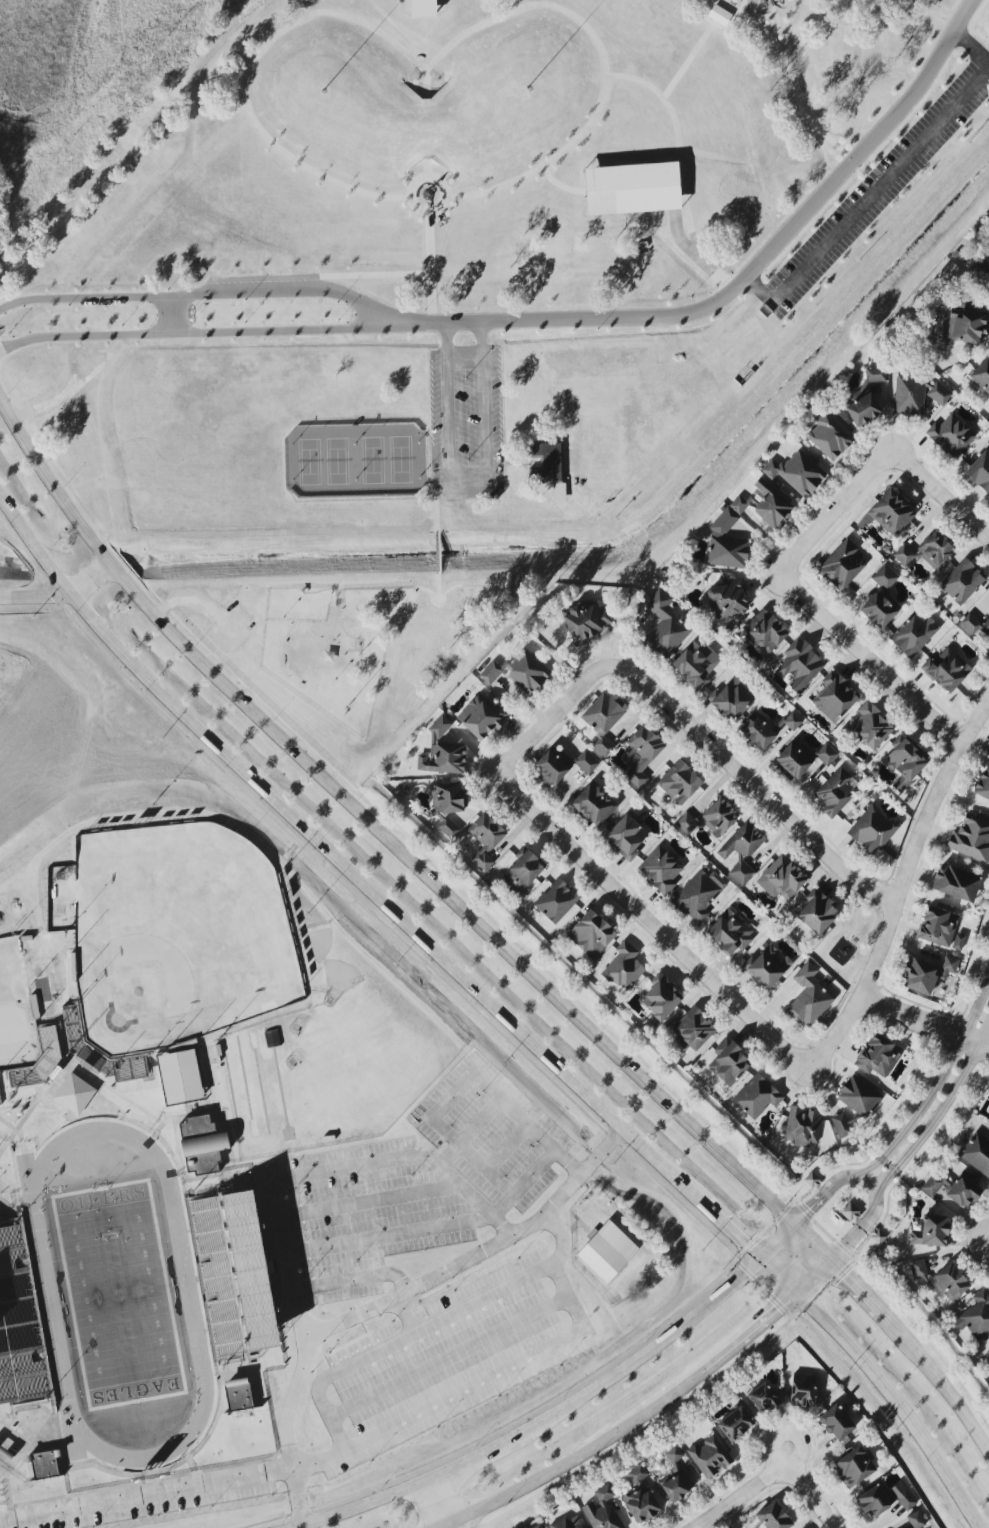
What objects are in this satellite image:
building: (423, 8)
building: (719, 15)
road: (791, 78)
road: (881, 186)
building: (632, 189)
road: (702, 260)
building: (979, 270)
road: (744, 286)
road: (285, 295)
road: (96, 303)
road: (12, 308)
park: (477, 308)
road: (171, 321)
building: (968, 326)
road: (231, 337)
road: (36, 342)
building: (632, 375)
building: (982, 375)
road: (627, 384)
road: (621, 393)
building: (939, 394)
building: (909, 396)
building: (865, 398)
parking lot: (469, 423)
road: (630, 429)
building: (830, 435)
building: (951, 435)
building: (645, 436)
building: (576, 437)
road: (631, 445)
road: (524, 462)
building: (548, 463)
building: (979, 472)
building: (797, 473)
road: (469, 477)
building: (589, 491)
building: (560, 493)
road: (945, 498)
building: (771, 505)
road: (837, 509)
building: (889, 514)
building: (727, 543)
building: (926, 551)
building: (841, 565)
building: (885, 577)
building: (962, 582)
road: (487, 586)
building: (517, 586)
road: (504, 592)
road: (59, 595)
building: (729, 599)
building: (880, 609)
building: (587, 621)
building: (665, 626)
building: (976, 627)
building: (765, 631)
building: (913, 635)
road: (871, 661)
building: (696, 664)
building: (800, 666)
building: (947, 669)
road: (433, 670)
building: (519, 672)
building: (833, 697)
building: (729, 702)
building: (481, 718)
building: (603, 719)
road: (551, 720)
building: (793, 721)
building: (440, 726)
building: (871, 727)
building: (758, 732)
building: (641, 754)
building: (826, 754)
building: (443, 759)
building: (794, 759)
building: (586, 762)
building: (905, 764)
building: (549, 768)
building: (679, 782)
road: (749, 783)
building: (983, 784)
building: (836, 792)
building: (594, 805)
building: (447, 806)
building: (718, 817)
building: (686, 823)
building: (872, 830)
building: (626, 837)
building: (971, 838)
building: (485, 839)
road: (914, 847)
building: (742, 852)
building: (661, 869)
building: (522, 873)
building: (781, 879)
building: (956, 883)
road: (367, 889)
building: (699, 895)
building: (556, 901)
building: (817, 912)
road: (653, 926)
building: (937, 927)
road: (486, 932)
building: (730, 933)
building: (591, 934)
park: (178, 936)
track: (319, 945)
road: (409, 946)
building: (624, 967)
building: (767, 967)
building: (927, 974)
track: (342, 981)
building: (76, 989)
stadium: (41, 992)
building: (809, 997)
building: (661, 999)
park: (16, 1011)
road: (70, 1013)
road: (924, 1024)
stadium: (73, 1026)
building: (40, 1028)
building: (693, 1030)
road: (837, 1034)
building: (272, 1037)
building: (167, 1050)
building: (878, 1056)
stadium: (91, 1061)
track: (279, 1063)
building: (729, 1063)
stadium: (130, 1066)
stadium: (49, 1068)
building: (10, 1073)
road: (209, 1075)
building: (180, 1077)
road: (157, 1078)
track: (262, 1085)
track: (247, 1088)
road: (488, 1088)
track: (233, 1091)
building: (75, 1095)
building: (757, 1096)
building: (859, 1096)
building: (0, 1103)
road: (18, 1108)
road: (137, 1108)
building: (988, 1111)
road: (211, 1113)
road: (30, 1115)
road: (914, 1121)
building: (841, 1125)
building: (803, 1126)
parking lot: (494, 1134)
road: (474, 1136)
road: (10, 1142)
road: (23, 1143)
building: (204, 1145)
road: (509, 1147)
road: (913, 1149)
building: (977, 1153)
road: (182, 1162)
road: (181, 1174)
road: (313, 1175)
road: (762, 1175)
track: (30, 1181)
building: (952, 1189)
road: (804, 1197)
road: (354, 1206)
road: (804, 1211)
building: (850, 1211)
road: (784, 1212)
road: (5, 1213)
parking lot: (352, 1221)
road: (769, 1230)
road: (824, 1231)
building: (931, 1231)
building: (878, 1237)
road: (373, 1238)
road: (780, 1243)
road: (748, 1248)
road: (844, 1249)
building: (608, 1252)
road: (855, 1261)
road: (744, 1270)
road: (842, 1273)
building: (238, 1274)
building: (218, 1278)
stadium: (218, 1278)
building: (941, 1279)
road: (201, 1281)
road: (509, 1283)
road: (339, 1284)
road: (762, 1288)
road: (825, 1289)
track: (120, 1295)
park: (121, 1297)
road: (809, 1303)
road: (781, 1306)
road: (381, 1307)
stadium: (125, 1308)
road: (37, 1312)
building: (976, 1316)
building: (18, 1326)
building: (988, 1353)
road: (450, 1357)
road: (498, 1374)
road: (324, 1376)
road: (883, 1383)
building: (802, 1391)
building: (239, 1396)
building: (763, 1398)
road: (642, 1411)
road: (548, 1421)
building: (836, 1423)
road: (653, 1424)
building: (735, 1424)
track: (76, 1437)
building: (8, 1453)
building: (674, 1454)
building: (710, 1456)
road: (20, 1461)
road: (183, 1462)
building: (45, 1466)
building: (854, 1466)
road: (427, 1485)
building: (677, 1486)
road: (146, 1494)
building: (38, 1496)
building: (901, 1496)
building: (640, 1497)
road: (737, 1497)
road: (810, 1497)
building: (873, 1501)
parking lot: (151, 1504)
parking lot: (2, 1509)
building: (602, 1510)
building: (773, 1517)
building: (915, 1520)
road: (462, 1522)
building: (568, 1523)
building: (537, 1526)

